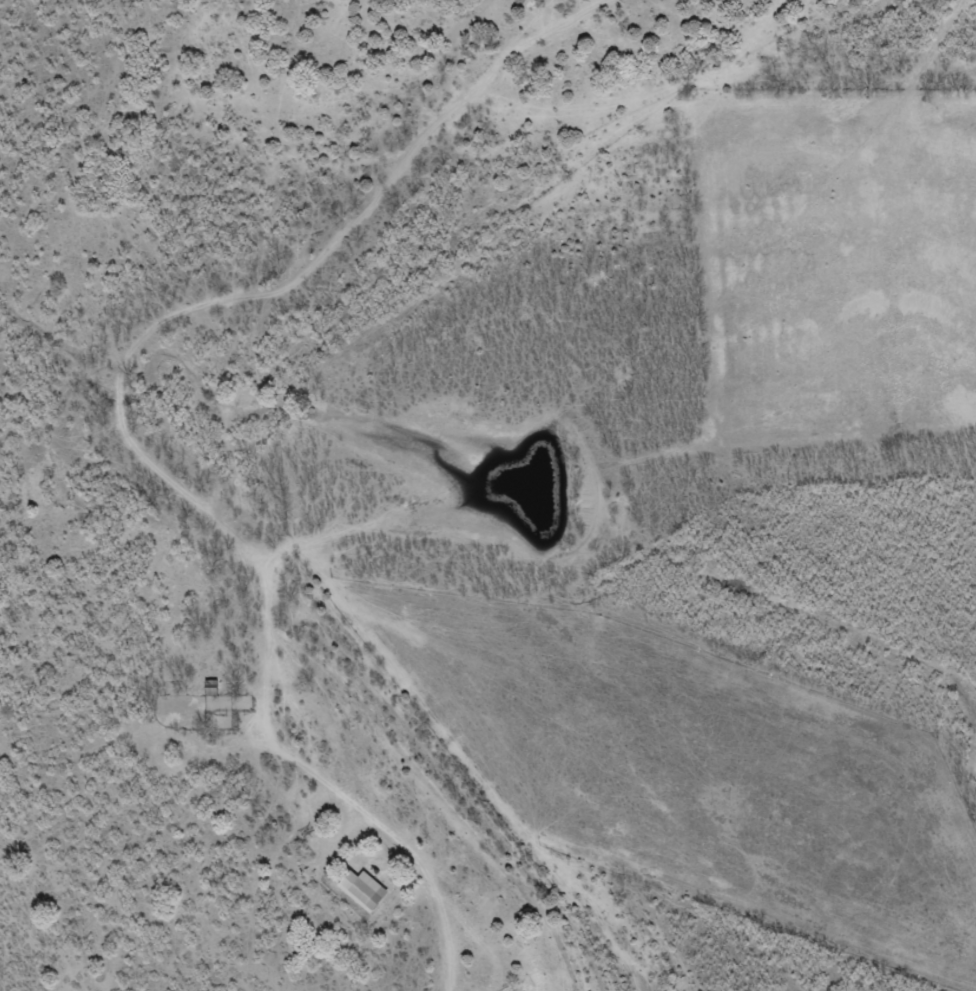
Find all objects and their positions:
road: (239, 442)
building: (362, 891)

